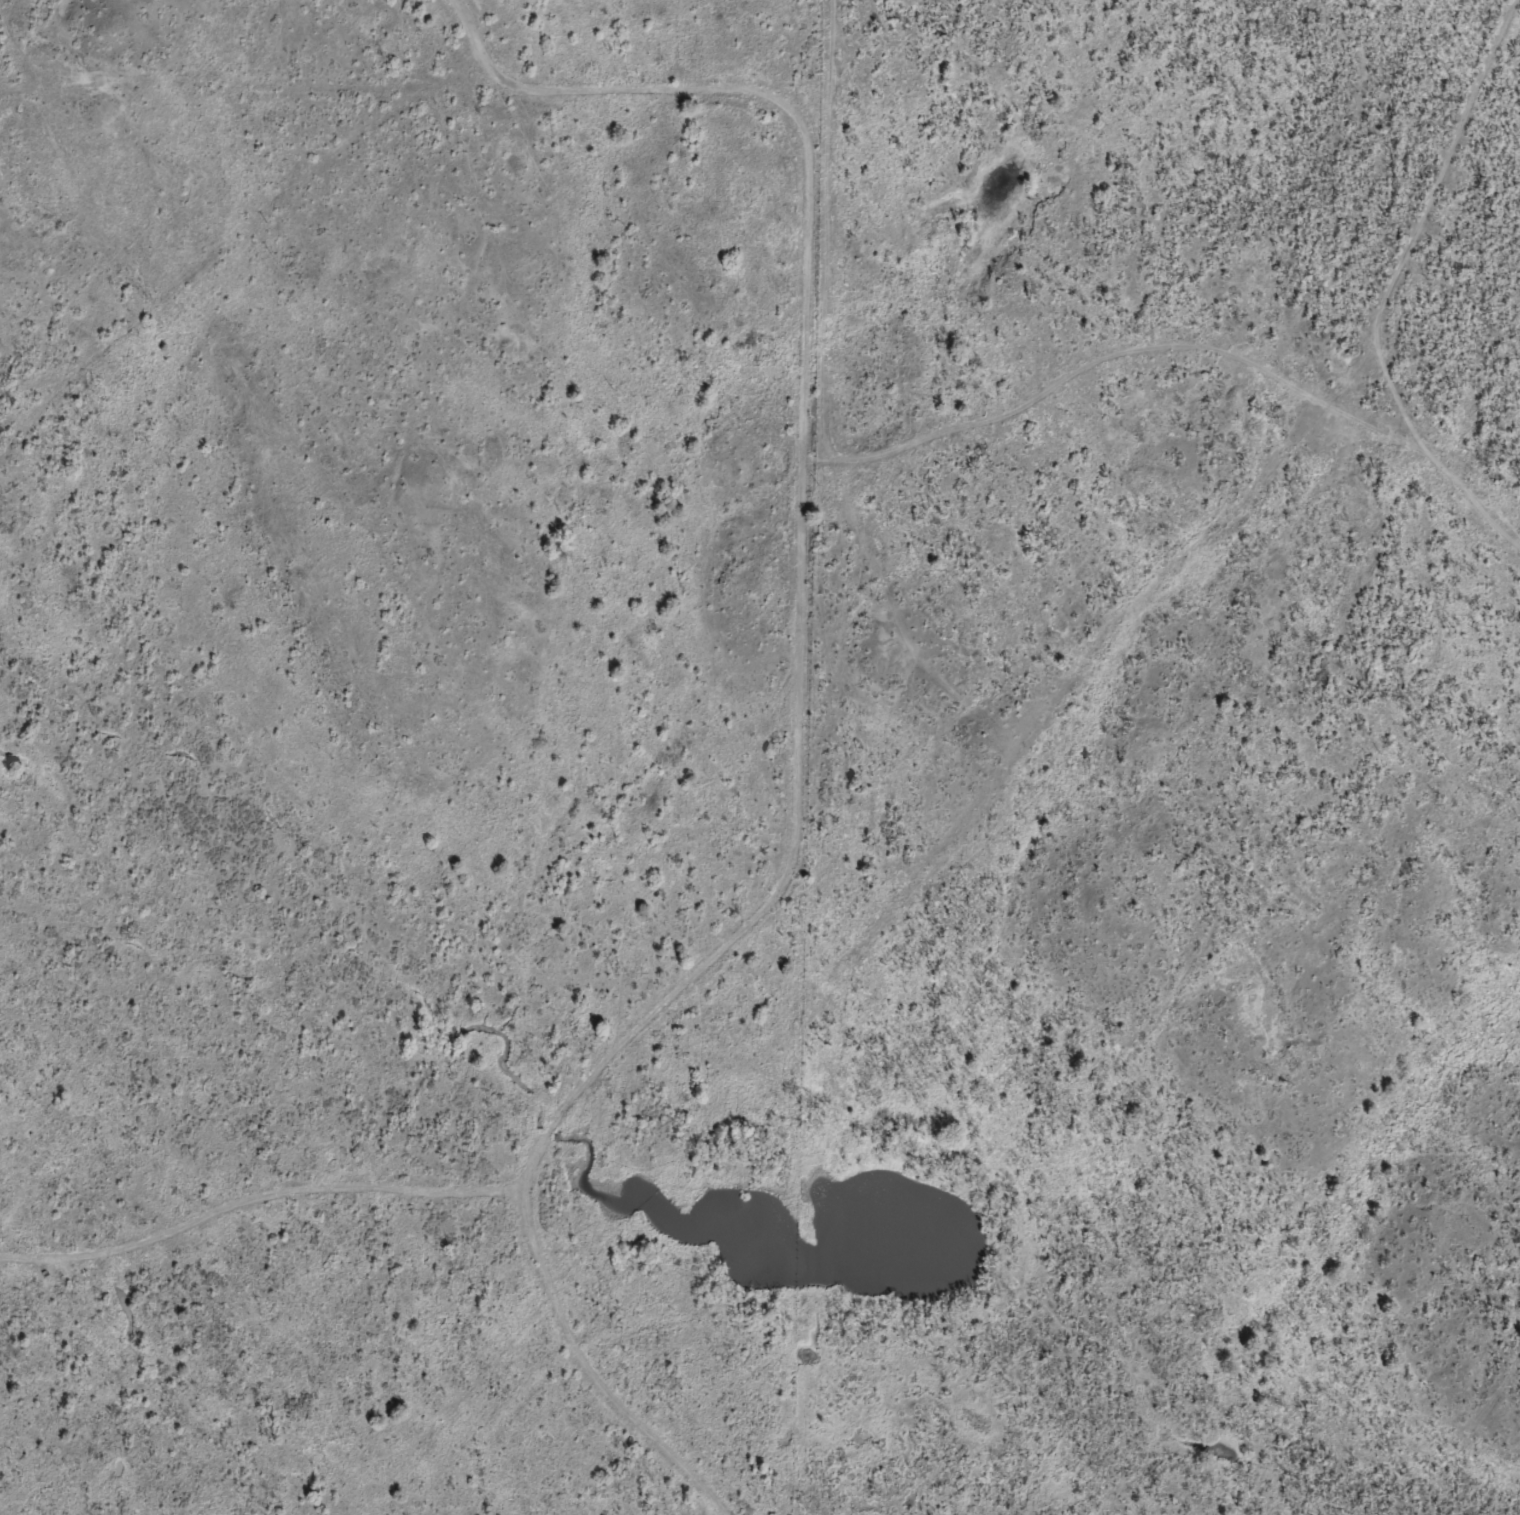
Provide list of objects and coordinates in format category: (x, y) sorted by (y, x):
road: (252, 69)
road: (240, 228)
road: (1387, 315)
road: (1086, 394)
road: (797, 696)

